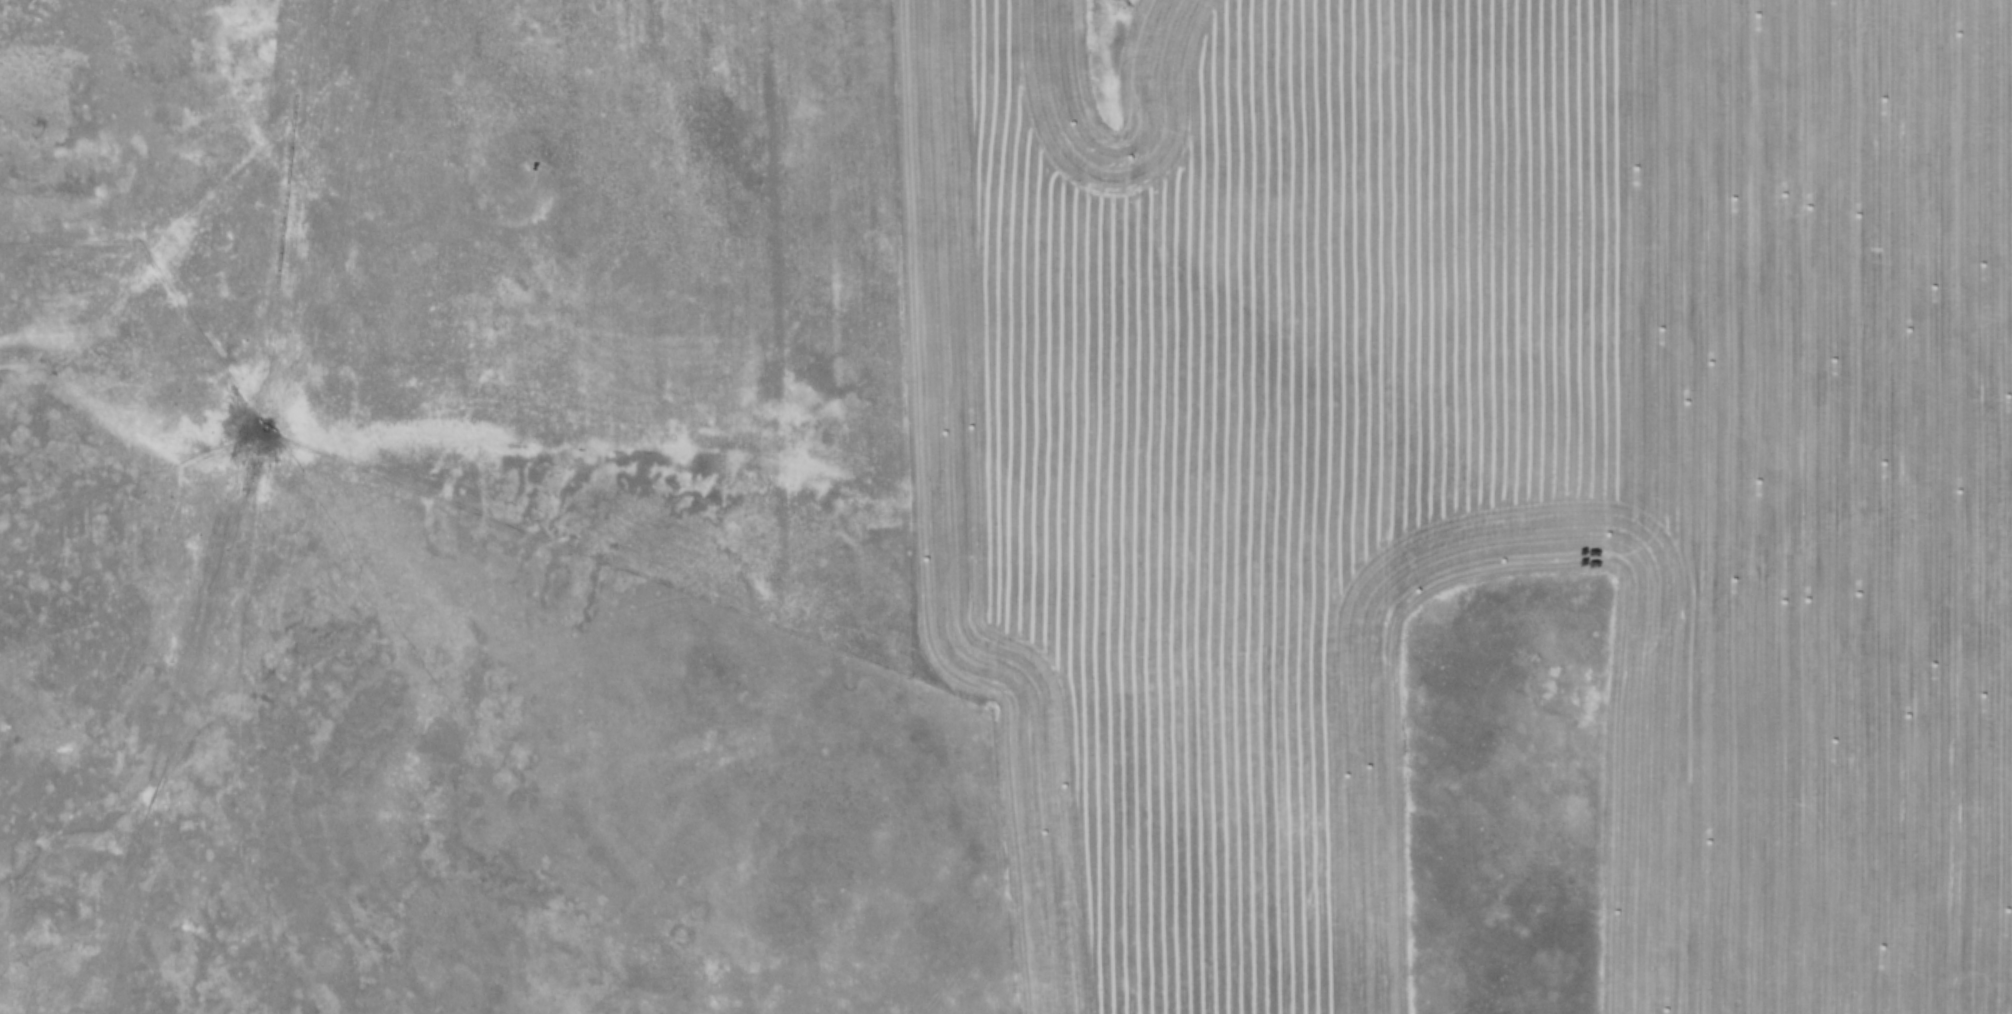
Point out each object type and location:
building: (1847, 300)
road: (197, 576)

